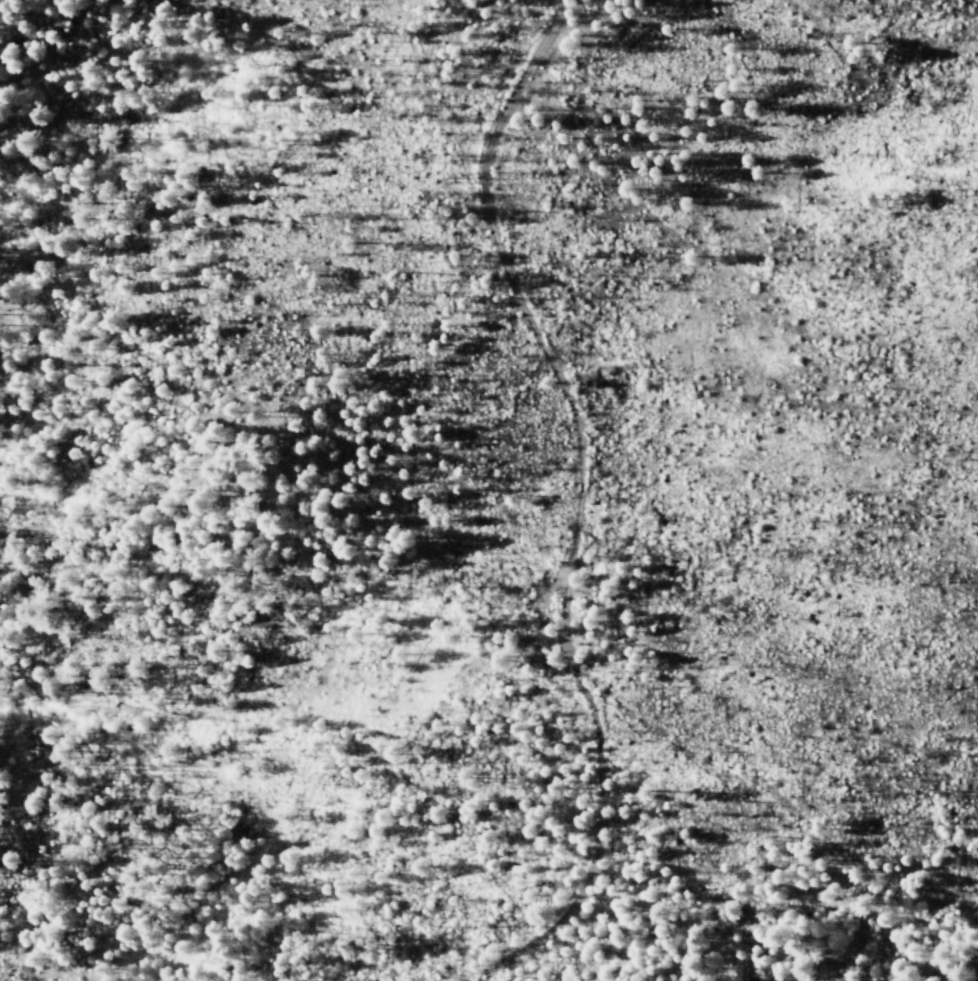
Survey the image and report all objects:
road: (576, 493)

